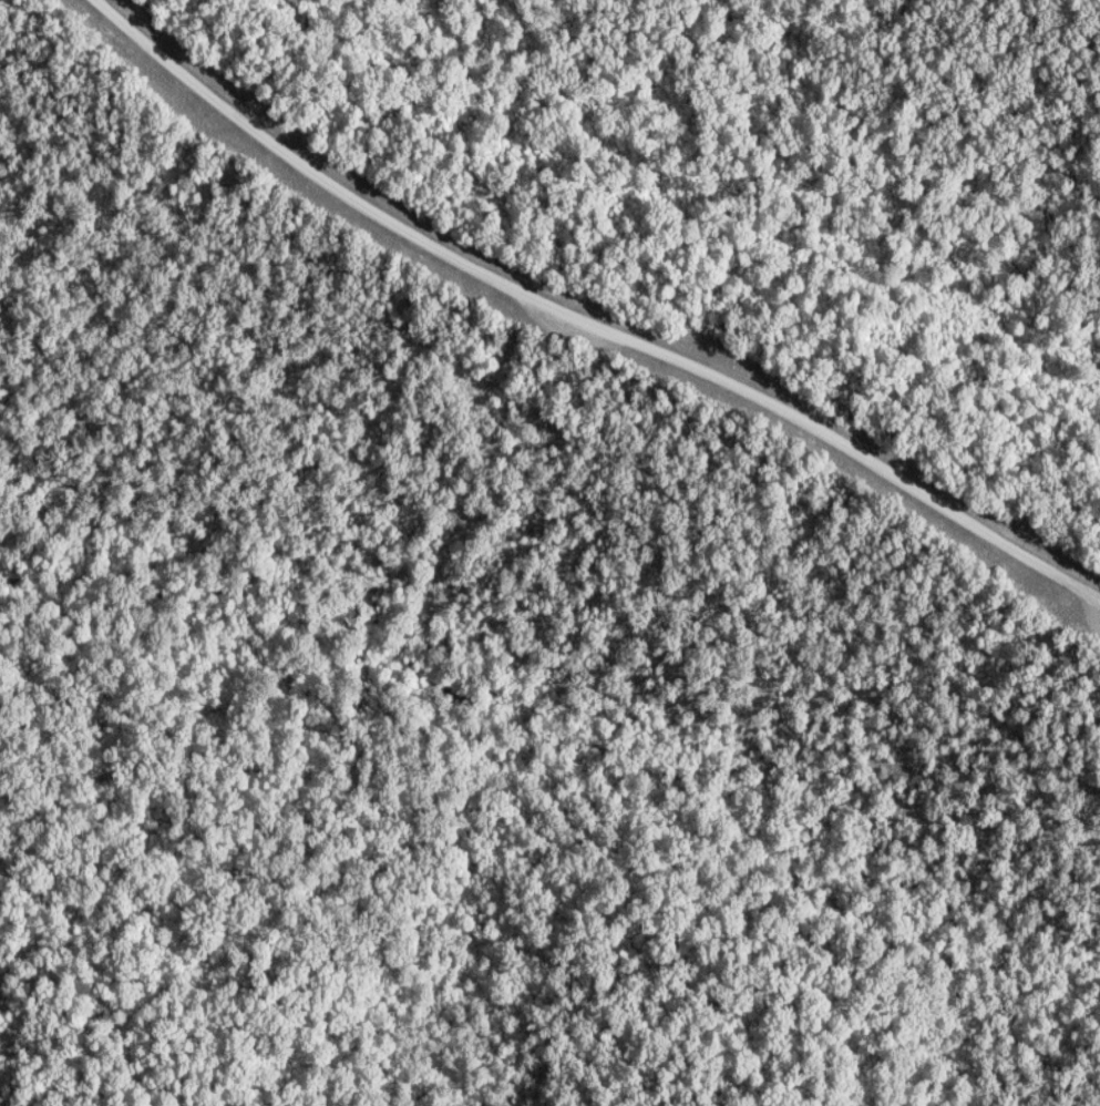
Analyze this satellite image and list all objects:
road: (587, 319)
parking lot: (573, 337)

